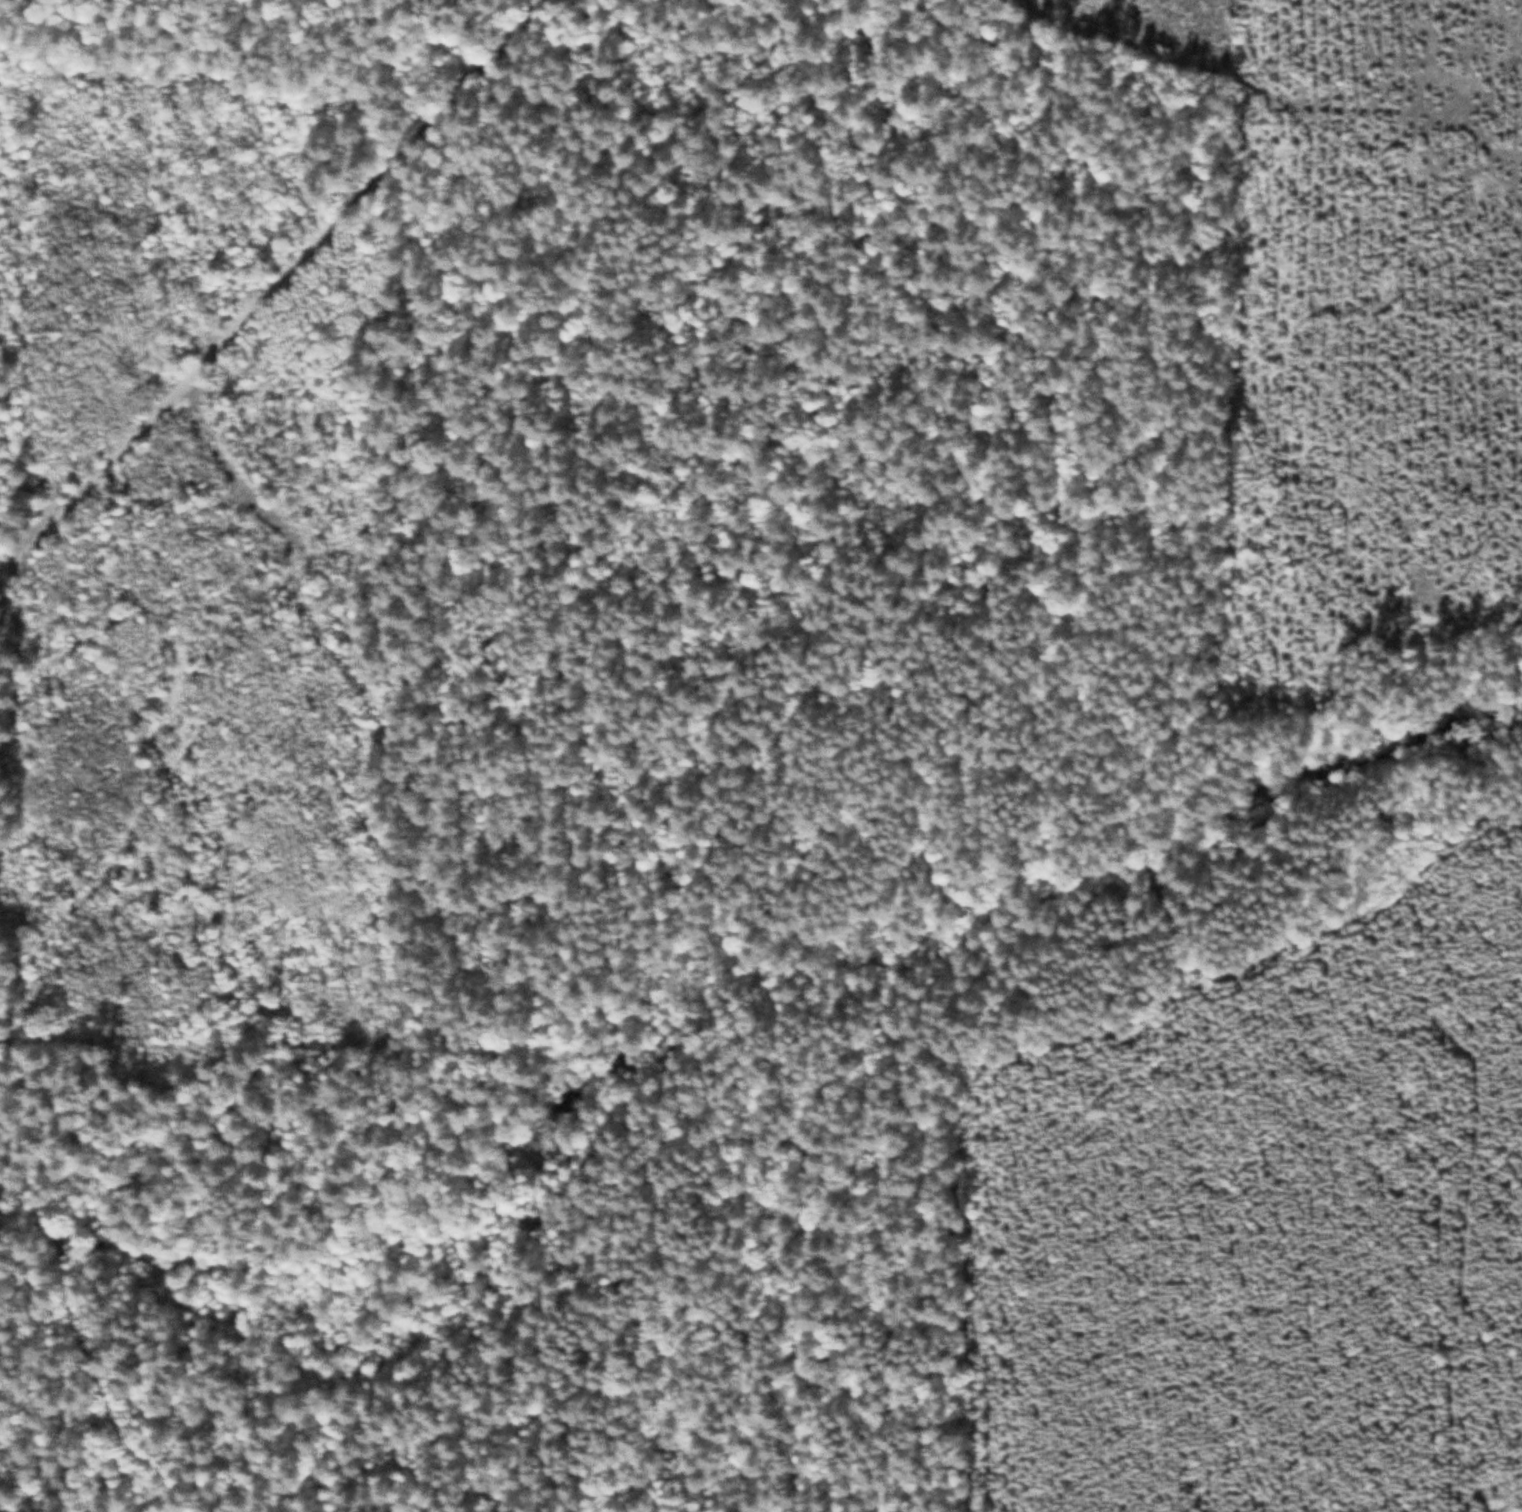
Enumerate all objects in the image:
road: (1227, 74)
road: (271, 287)
road: (636, 941)
road: (173, 1296)

